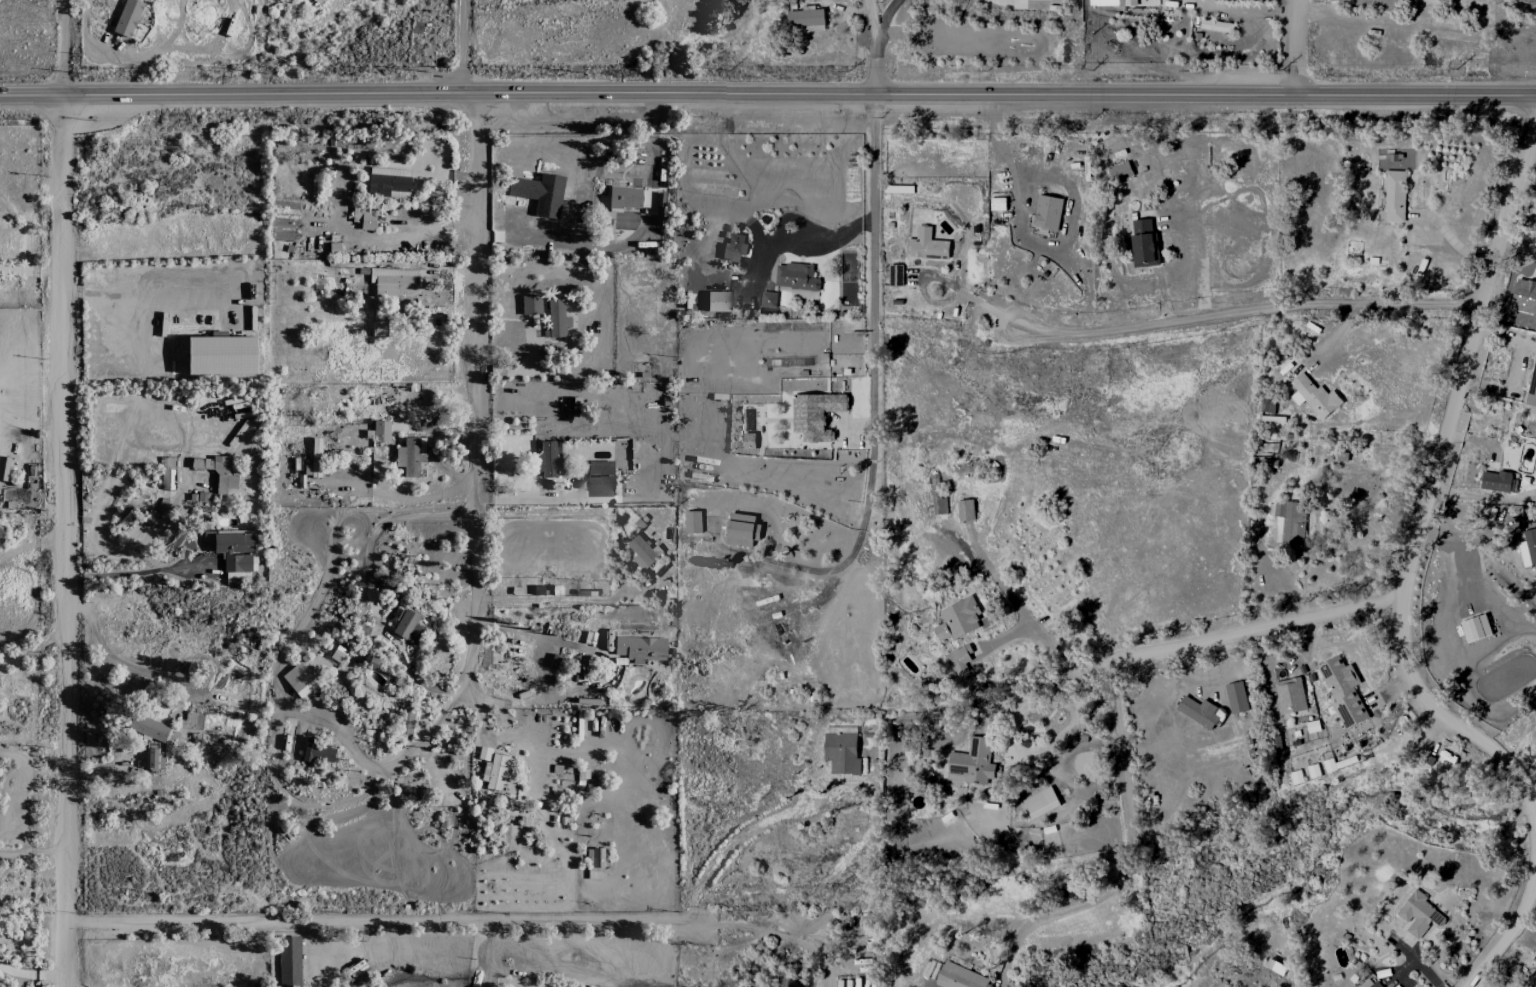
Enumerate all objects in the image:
building: (1112, 3)
building: (127, 18)
building: (807, 19)
building: (1216, 25)
road: (462, 41)
road: (866, 41)
road: (1296, 43)
road: (768, 82)
building: (1120, 171)
building: (387, 184)
building: (520, 188)
building: (1395, 196)
building: (624, 198)
building: (538, 201)
building: (998, 203)
road: (1524, 211)
building: (1048, 212)
building: (363, 218)
road: (631, 239)
road: (795, 239)
road: (1026, 239)
building: (1144, 243)
building: (927, 244)
building: (735, 247)
building: (797, 277)
building: (394, 283)
road: (135, 291)
road: (966, 294)
building: (769, 299)
building: (717, 302)
building: (530, 305)
road: (1233, 309)
building: (556, 319)
building: (379, 329)
building: (221, 355)
road: (870, 369)
road: (471, 383)
building: (1532, 391)
building: (1314, 396)
building: (816, 414)
road: (30, 426)
building: (381, 431)
building: (411, 456)
building: (314, 459)
building: (546, 460)
building: (167, 473)
building: (600, 478)
building: (1496, 481)
road: (1431, 486)
road: (1332, 491)
road: (65, 493)
road: (528, 497)
road: (406, 501)
building: (938, 501)
building: (966, 509)
building: (693, 521)
building: (1290, 522)
road: (380, 525)
road: (1311, 525)
building: (743, 530)
building: (1528, 549)
building: (643, 552)
building: (235, 556)
road: (127, 572)
road: (552, 599)
road: (1018, 611)
building: (958, 619)
building: (404, 624)
road: (1246, 628)
building: (1476, 628)
building: (640, 649)
building: (339, 655)
road: (112, 659)
building: (960, 659)
road: (543, 669)
road: (608, 669)
building: (300, 681)
building: (1343, 691)
building: (1290, 695)
building: (1237, 697)
building: (1198, 711)
building: (406, 720)
building: (148, 728)
building: (842, 750)
road: (405, 753)
building: (484, 754)
building: (150, 759)
building: (973, 762)
building: (1330, 765)
building: (1314, 770)
building: (496, 773)
building: (1297, 776)
building: (1108, 800)
building: (1041, 802)
road: (747, 833)
road: (1127, 855)
building: (595, 863)
building: (1419, 914)
road: (369, 922)
road: (765, 931)
road: (1509, 931)
building: (289, 961)
building: (1276, 966)
road: (30, 972)
building: (960, 977)
building: (1370, 983)

